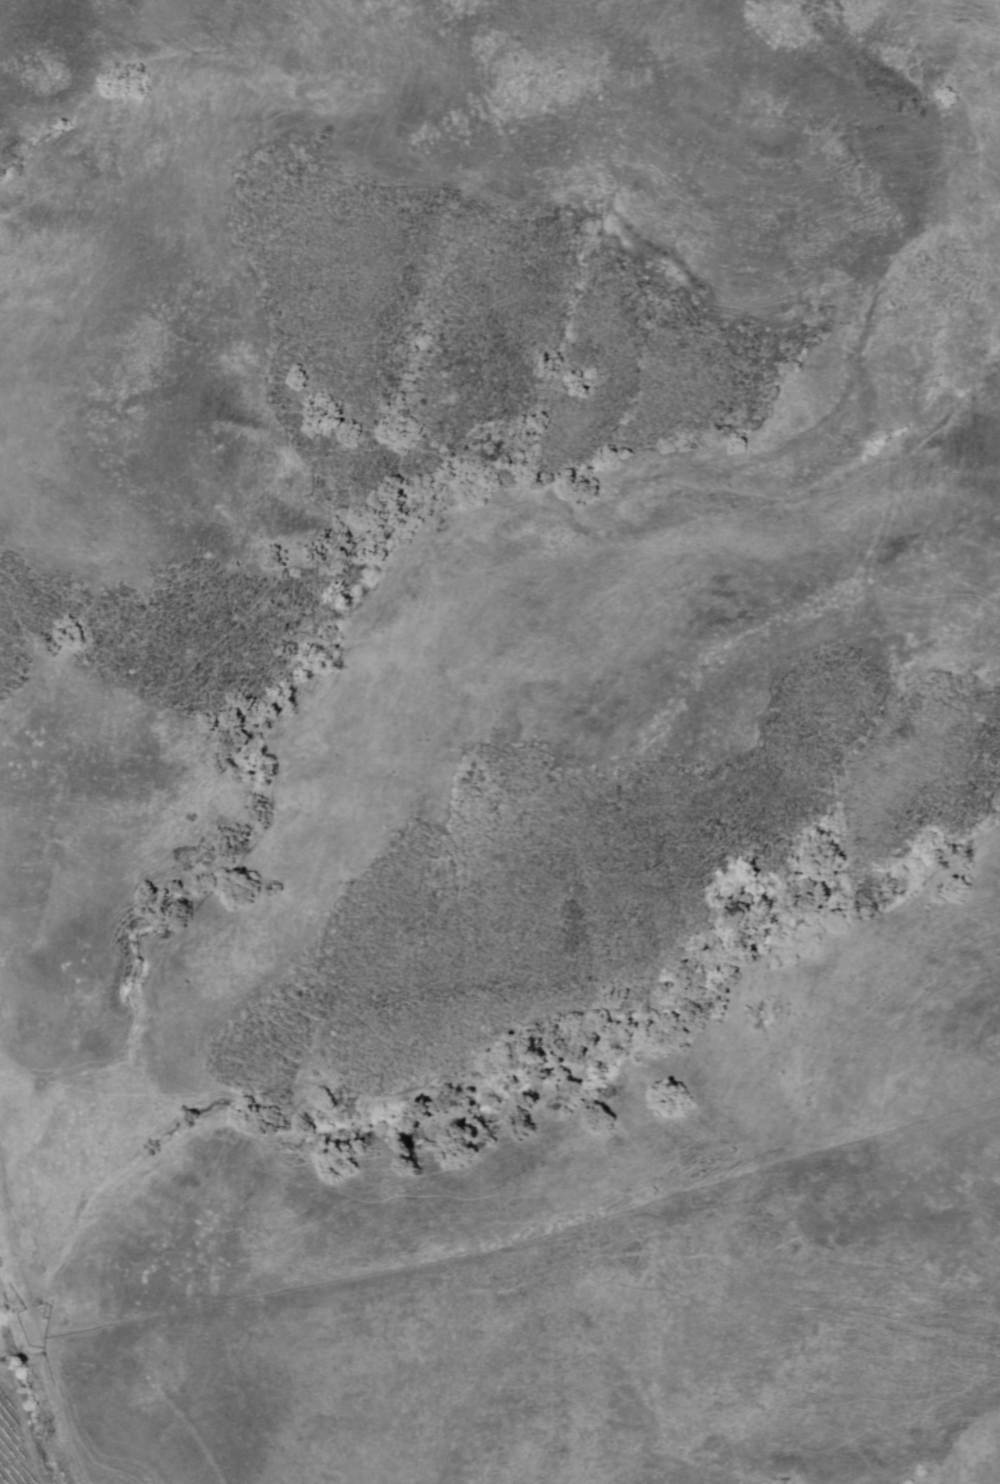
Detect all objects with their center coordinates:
crop: (74, 1402)

